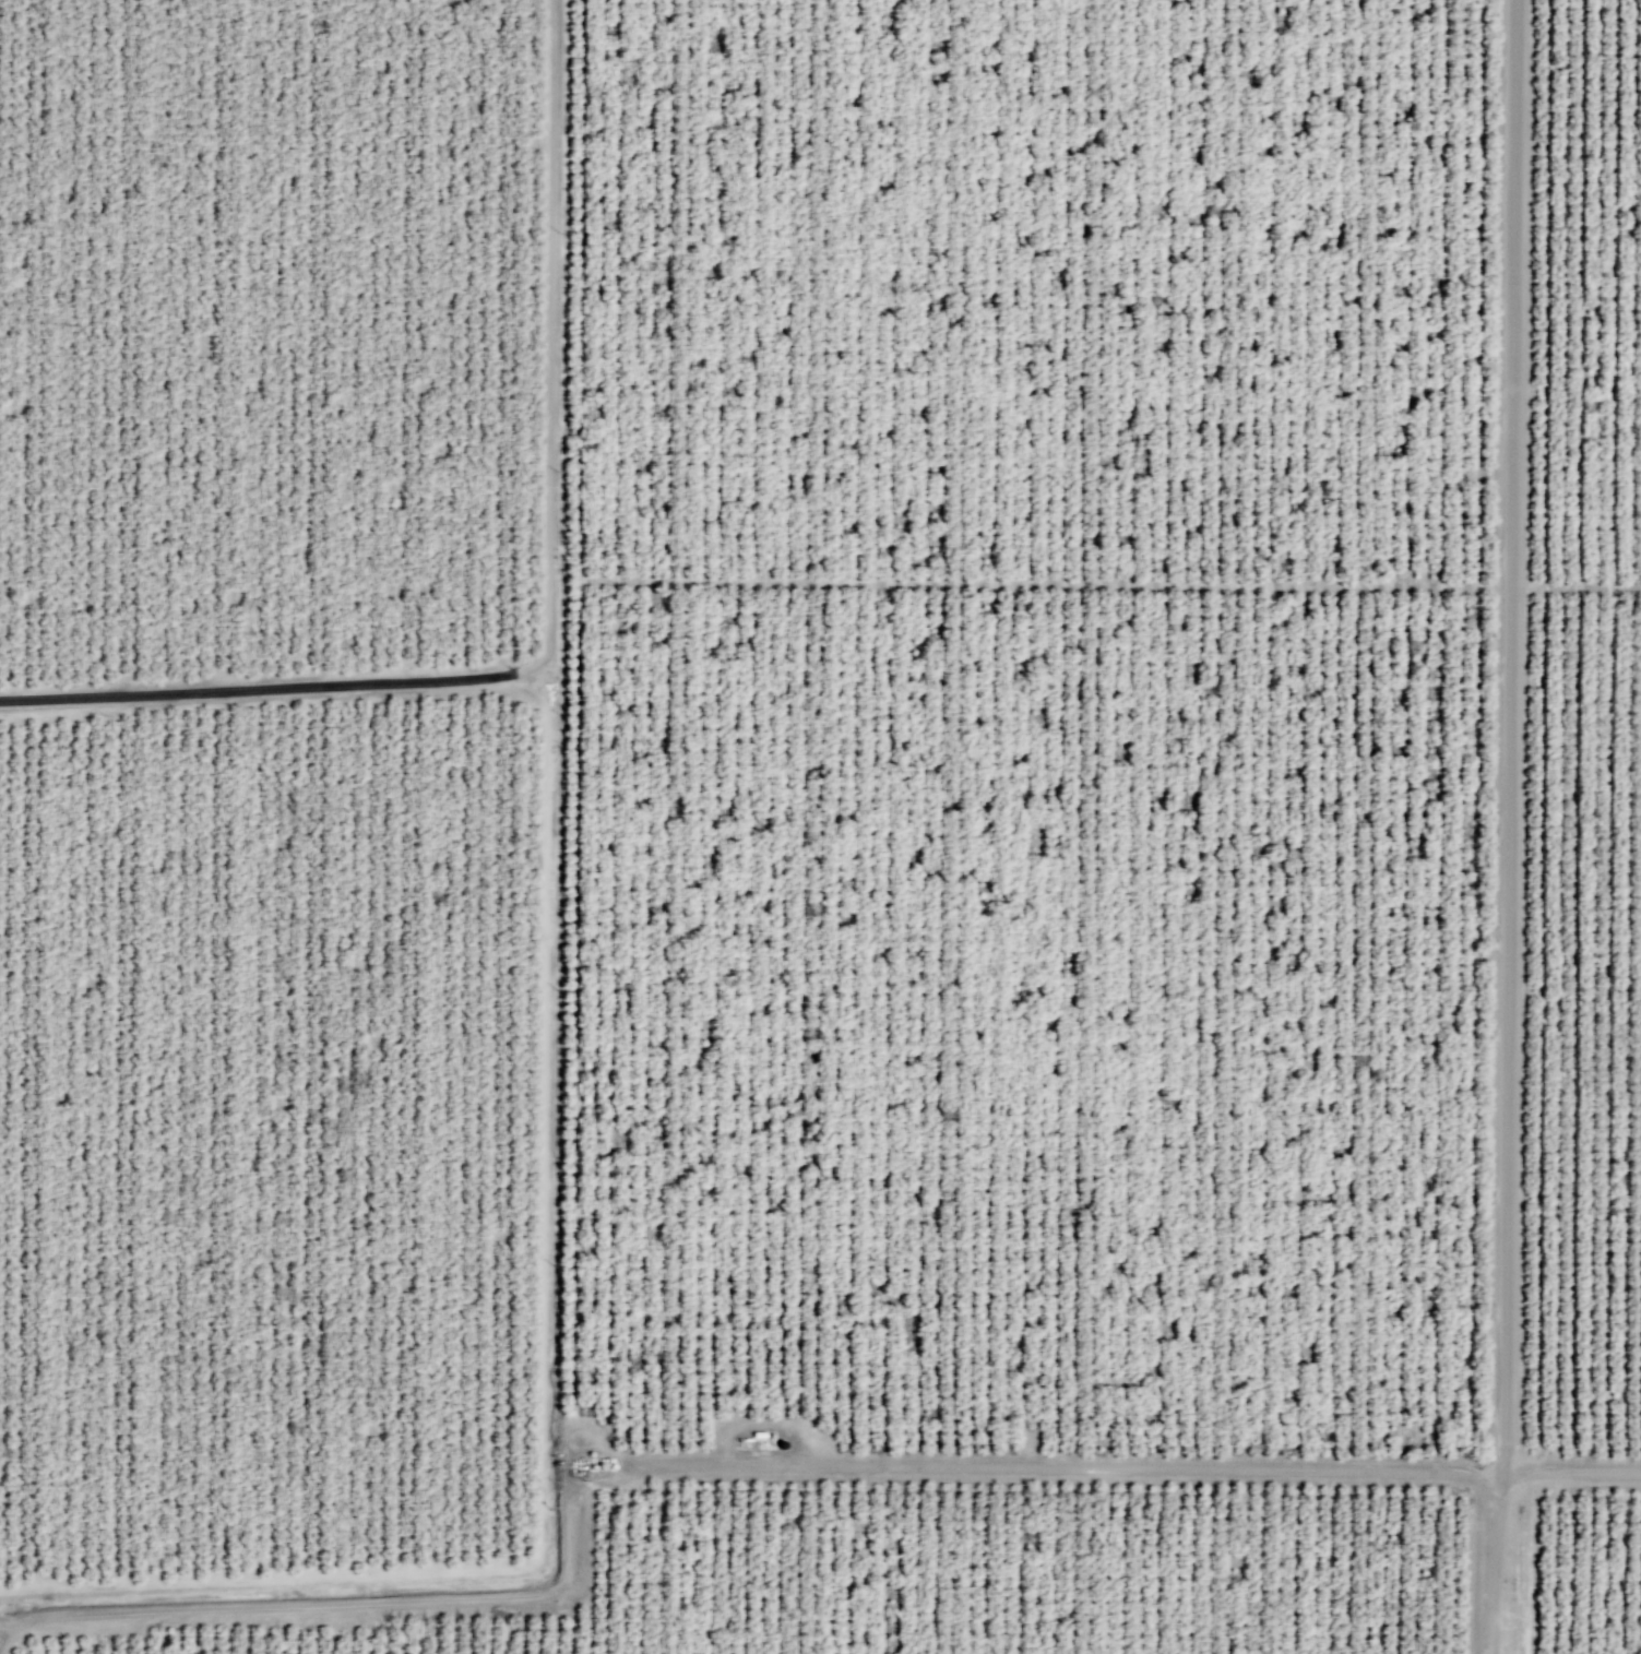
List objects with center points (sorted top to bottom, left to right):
road: (1045, 582)
road: (1575, 584)
road: (549, 604)
road: (580, 715)
road: (566, 716)
road: (1507, 826)
road: (543, 1382)
road: (590, 1435)
road: (1046, 1467)
road: (1566, 1472)
road: (1533, 1557)
road: (343, 1603)
road: (4, 1631)

